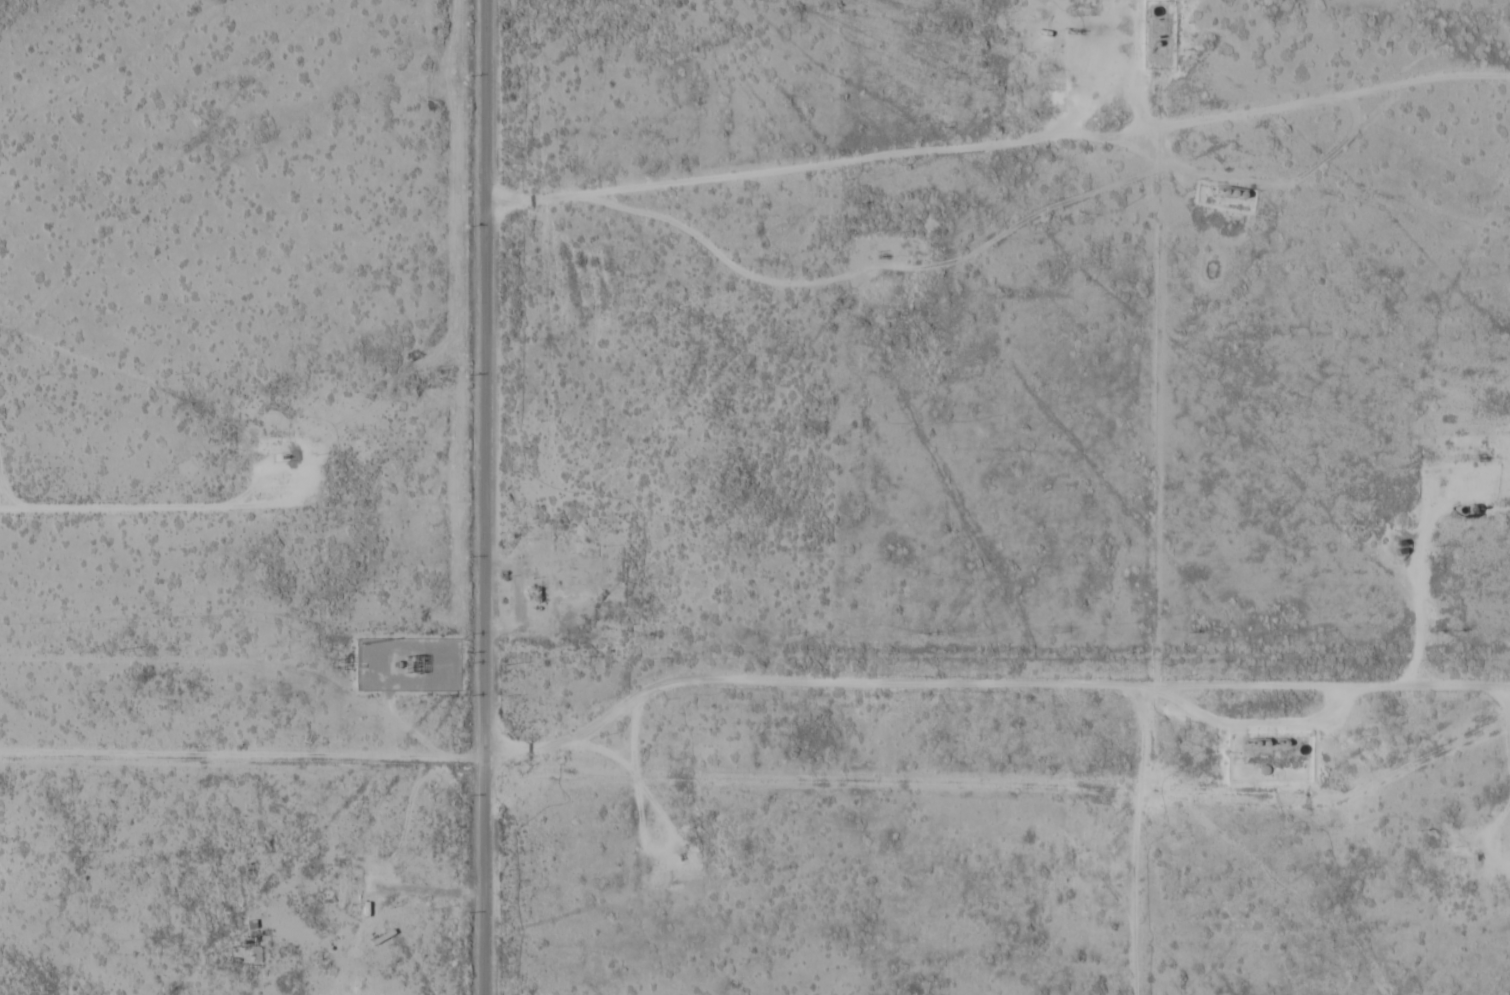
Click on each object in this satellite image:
road: (1263, 104)
road: (813, 169)
road: (486, 497)
road: (165, 509)
road: (1420, 538)
road: (1039, 683)
road: (1259, 684)
road: (1507, 712)
road: (633, 736)
road: (568, 744)
road: (242, 756)
road: (637, 804)
road: (408, 819)
road: (1132, 839)
road: (24, 968)

